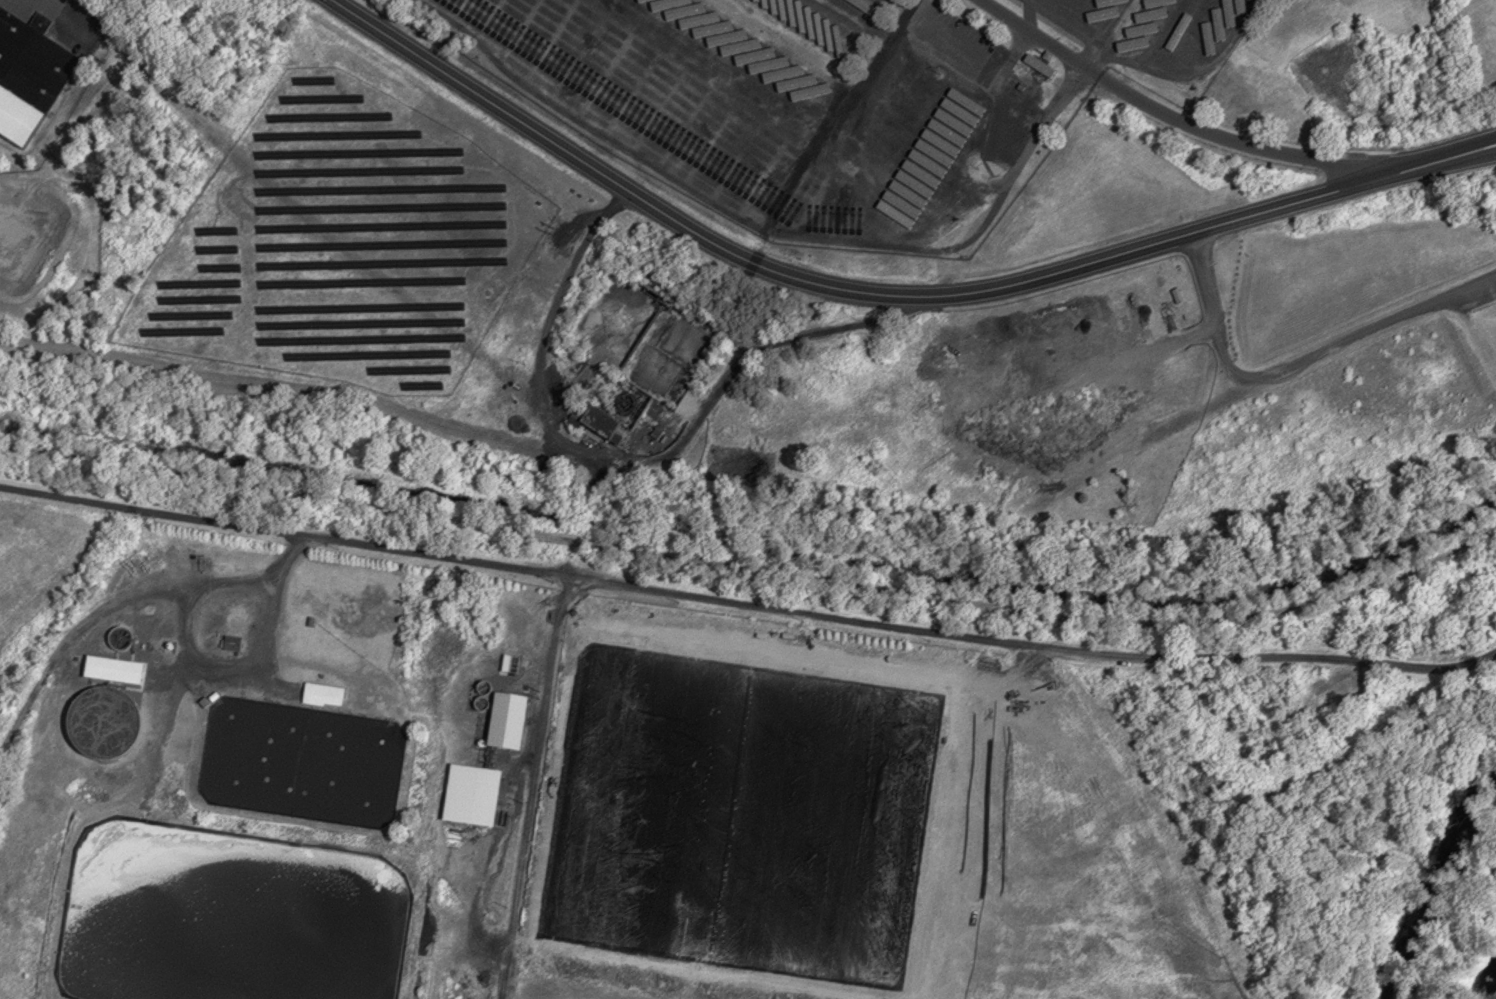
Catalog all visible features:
building: (825, 21)
building: (1036, 62)
building: (630, 72)
building: (29, 75)
road: (1185, 123)
building: (925, 160)
building: (792, 170)
road: (884, 294)
road: (1298, 364)
road: (733, 369)
building: (599, 425)
road: (754, 569)
road: (747, 603)
road: (279, 609)
building: (230, 642)
building: (112, 671)
building: (321, 694)
building: (203, 702)
building: (505, 721)
road: (531, 786)
building: (470, 795)
wastewater plant: (545, 798)
building: (743, 808)

